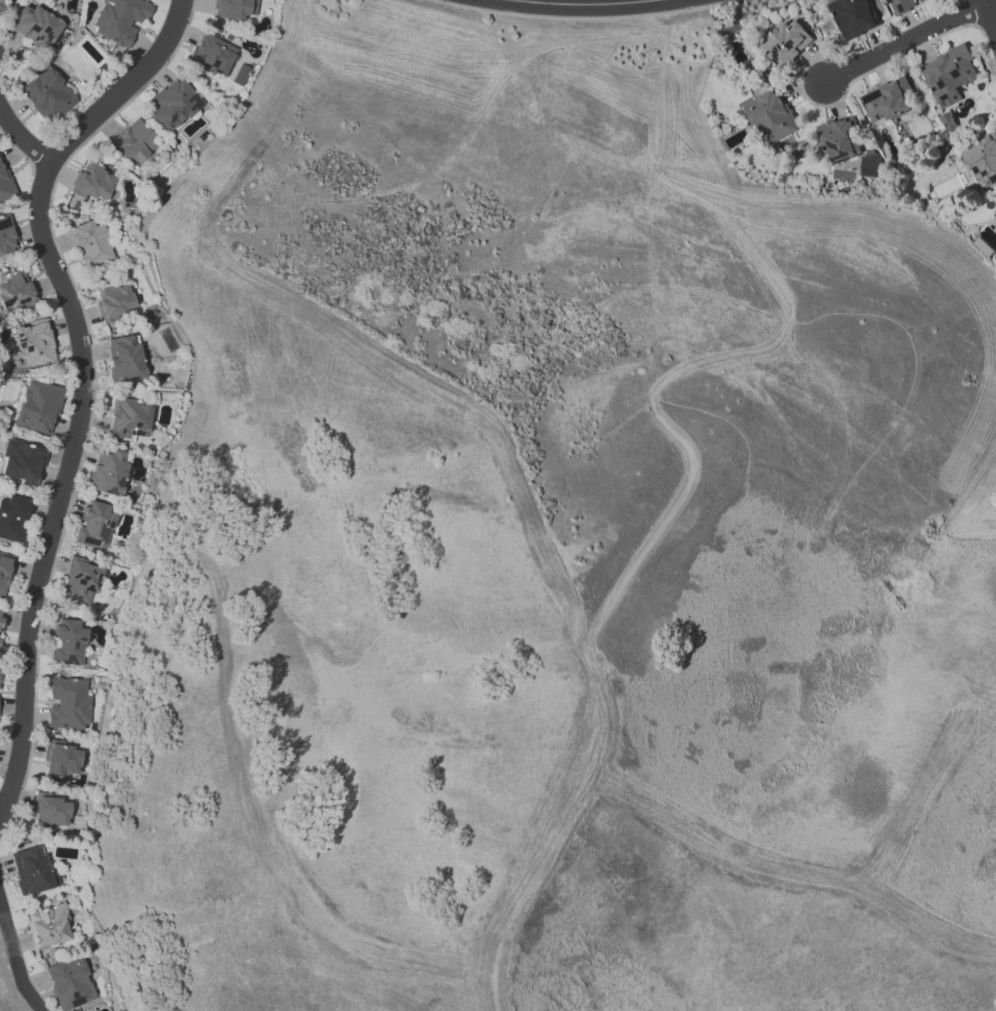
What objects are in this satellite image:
road: (990, 2)
road: (582, 3)
building: (901, 5)
building: (1, 7)
building: (235, 8)
building: (852, 17)
road: (989, 17)
building: (120, 19)
building: (35, 26)
road: (901, 41)
building: (785, 43)
building: (213, 55)
building: (948, 74)
building: (238, 78)
building: (47, 94)
building: (885, 100)
building: (173, 104)
building: (769, 115)
road: (20, 136)
building: (838, 139)
building: (134, 142)
building: (982, 161)
building: (869, 166)
building: (93, 182)
building: (4, 183)
building: (994, 212)
building: (6, 236)
building: (91, 242)
building: (16, 291)
building: (114, 300)
building: (34, 342)
building: (125, 358)
road: (82, 378)
building: (38, 407)
building: (130, 418)
building: (22, 461)
building: (108, 471)
building: (12, 517)
building: (94, 526)
building: (4, 573)
building: (80, 581)
building: (0, 616)
building: (0, 636)
building: (68, 642)
building: (69, 703)
building: (62, 758)
building: (50, 810)
building: (32, 871)
building: (48, 926)
road: (14, 960)
building: (69, 982)

